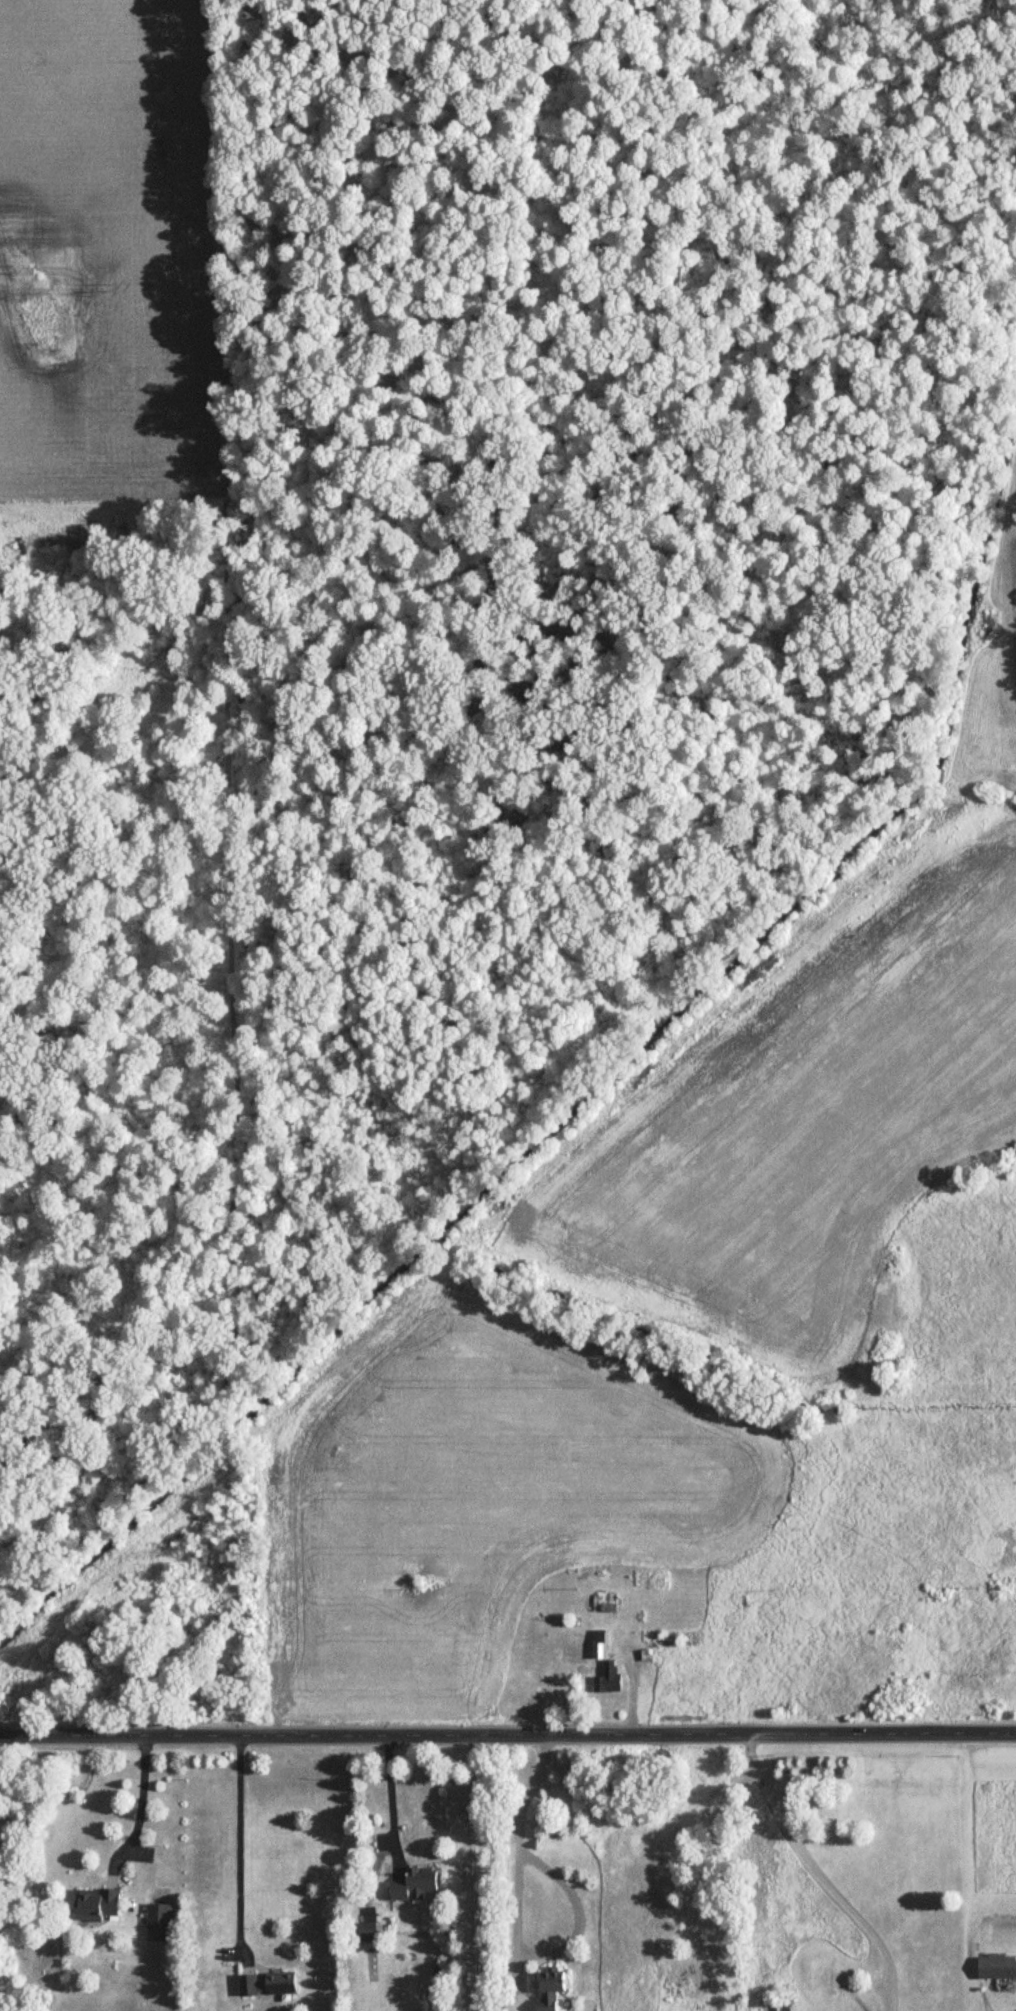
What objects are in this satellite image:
building: (597, 1646)
building: (606, 1680)
road: (508, 1735)
road: (390, 1790)
road: (140, 1800)
road: (239, 1832)
road: (823, 1865)
road: (472, 1873)
building: (411, 1885)
building: (93, 1904)
building: (156, 1923)
road: (517, 1926)
building: (366, 1935)
building: (995, 1967)
building: (266, 1985)
building: (545, 1990)
building: (782, 2007)

